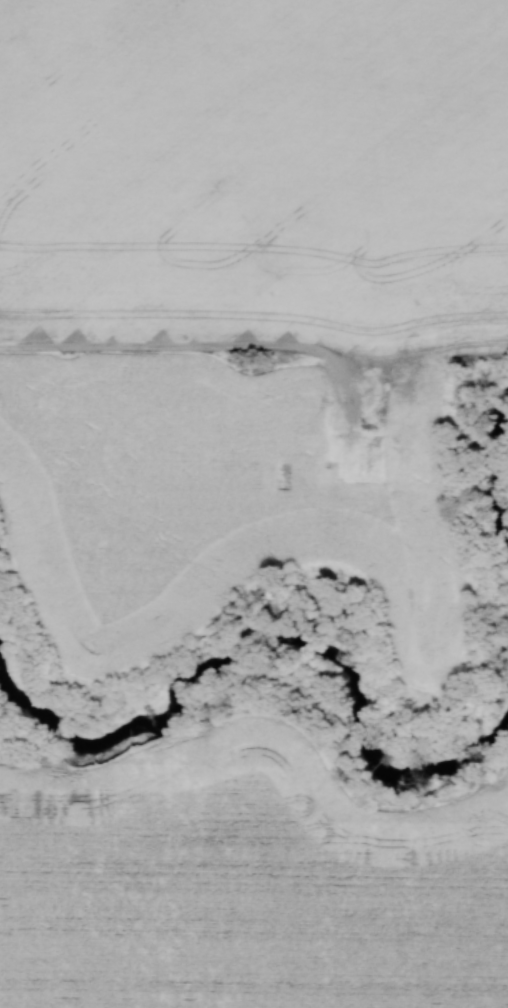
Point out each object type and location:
road: (201, 348)
building: (268, 374)
building: (405, 395)
building: (163, 415)
building: (234, 429)
building: (369, 462)
building: (295, 465)
river: (490, 489)
river: (275, 647)

